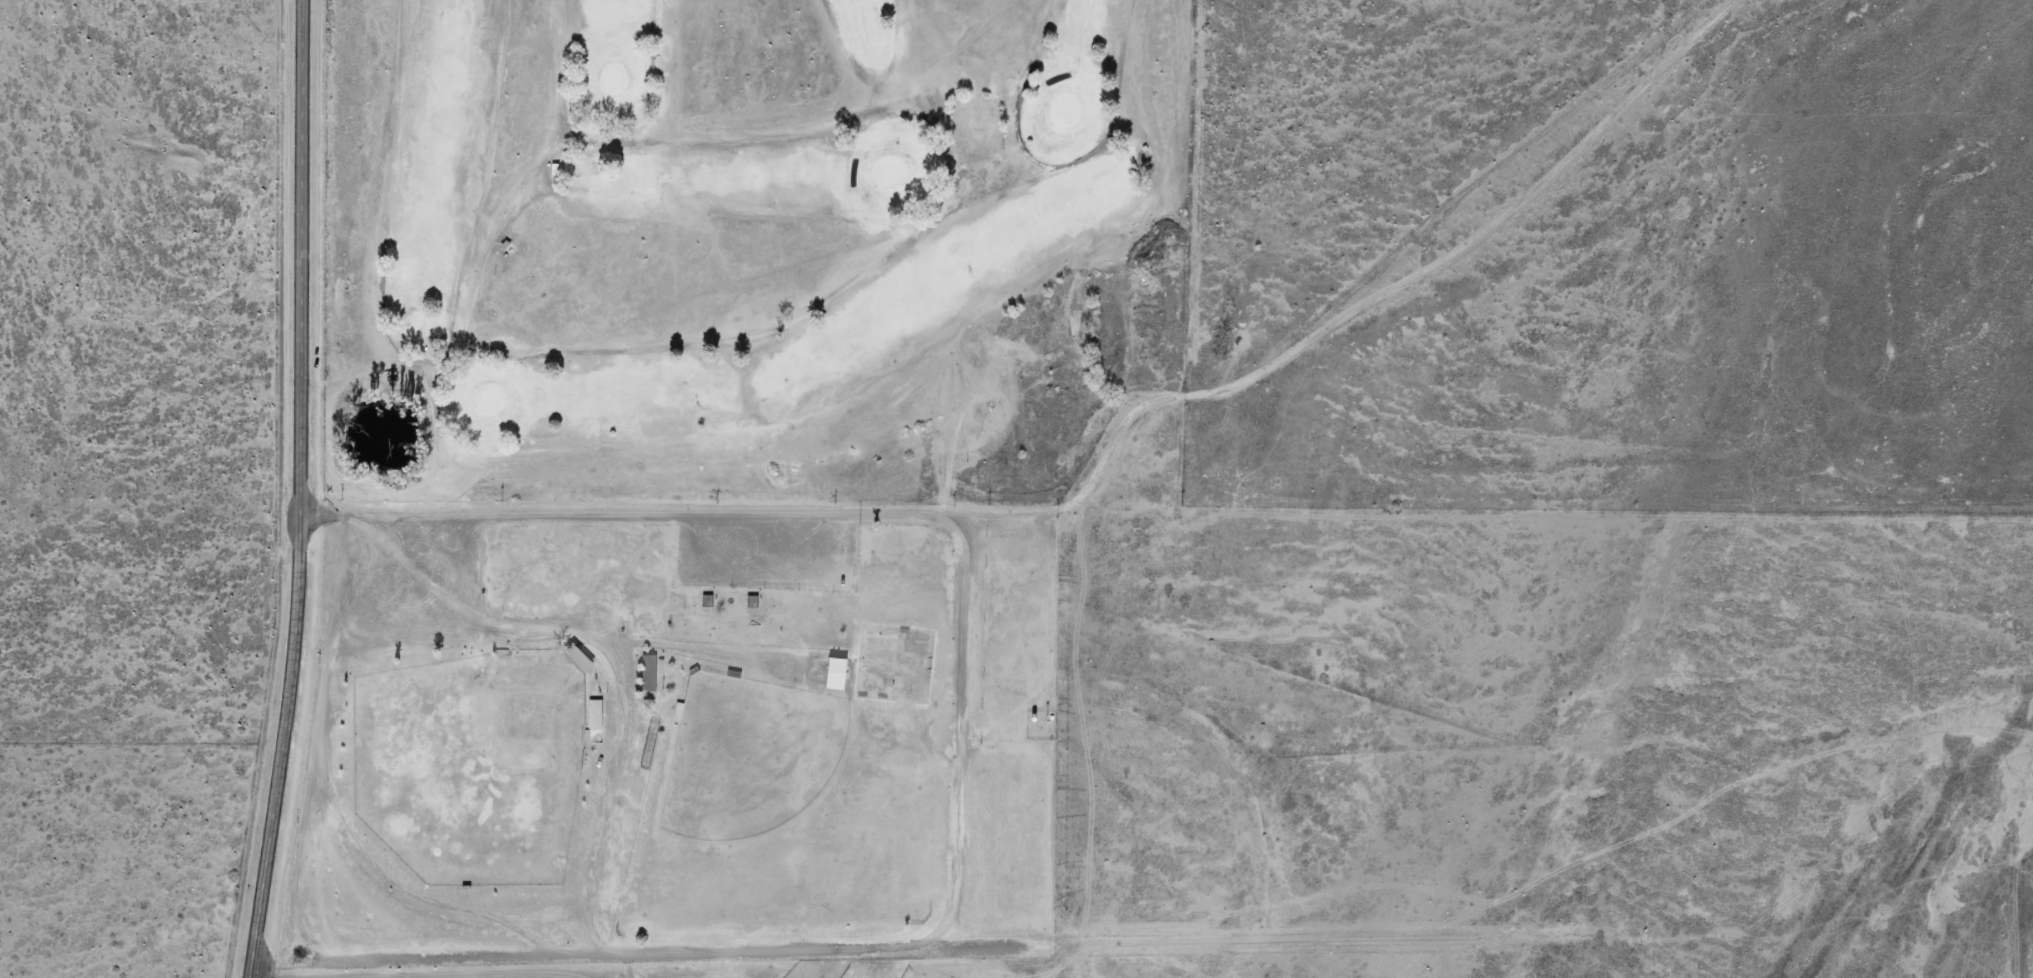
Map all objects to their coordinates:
park: (746, 245)
road: (293, 490)
road: (320, 517)
parking lot: (769, 551)
parking lot: (400, 582)
road: (707, 649)
building: (577, 660)
building: (647, 674)
building: (836, 675)
building: (594, 715)
park: (747, 756)
park: (470, 765)
road: (605, 809)
road: (590, 927)
road: (918, 944)
road: (501, 976)

